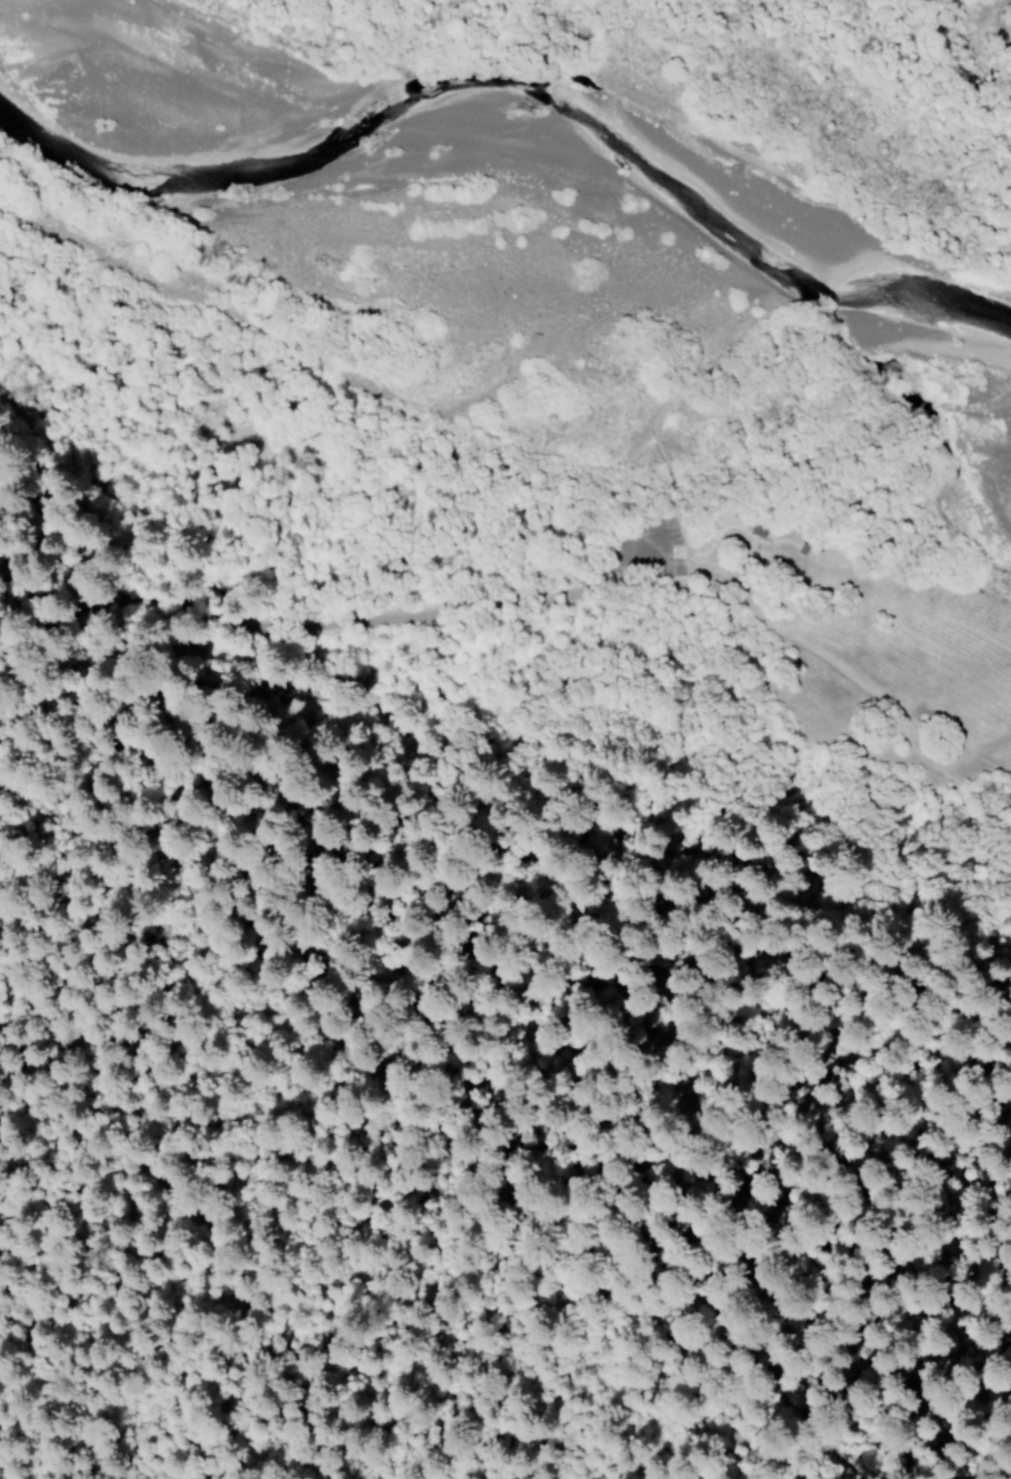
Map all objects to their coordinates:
river: (509, 196)
road: (653, 423)
parking lot: (675, 531)
road: (665, 532)
road: (35, 571)
road: (701, 572)
road: (873, 587)
road: (299, 616)
road: (909, 732)
road: (115, 794)
road: (676, 814)
road: (428, 819)
road: (806, 881)
road: (986, 943)
road: (124, 1204)
road: (726, 1330)
road: (910, 1373)
road: (940, 1448)

